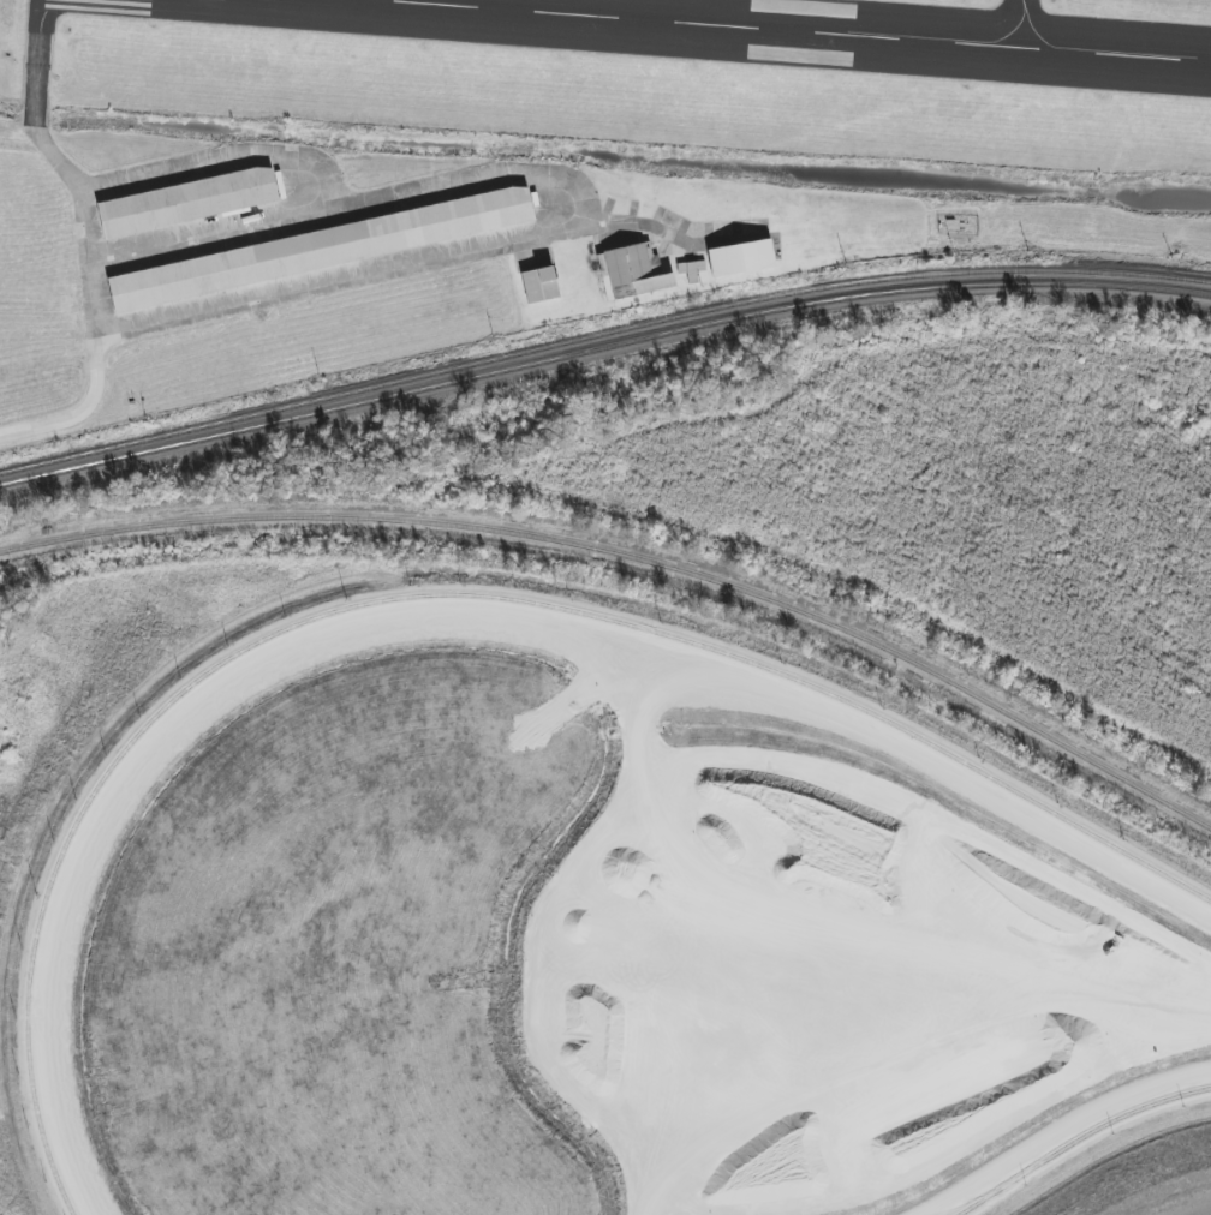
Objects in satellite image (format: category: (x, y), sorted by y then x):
airport taxiway: (1021, 12)
airport runway: (1028, 13)
airport runway: (614, 54)
airport taxiway: (47, 122)
road: (23, 148)
airport: (536, 164)
airport taxiway: (297, 181)
building: (186, 202)
building: (321, 249)
building: (741, 258)
building: (692, 270)
building: (632, 271)
building: (539, 285)
railway: (601, 336)
railway: (599, 348)
road: (74, 418)
railway: (631, 562)

